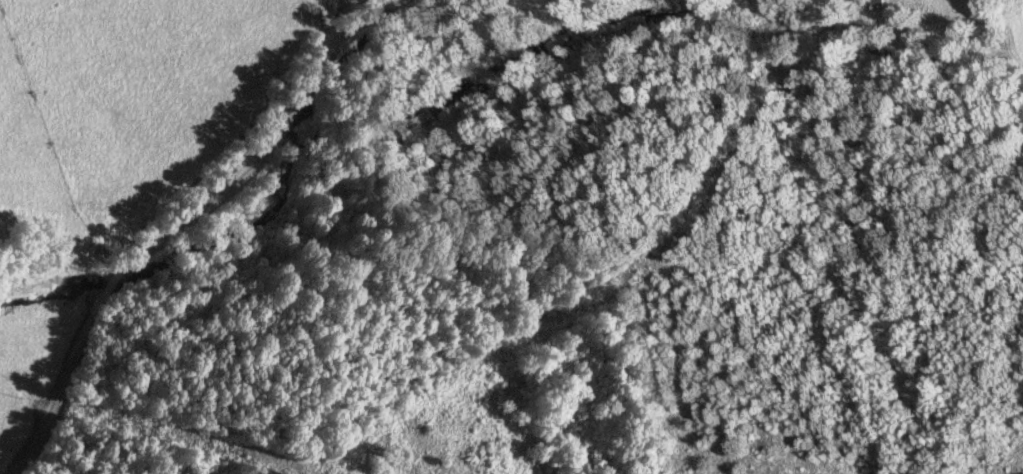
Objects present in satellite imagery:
road: (328, 20)
road: (199, 218)

